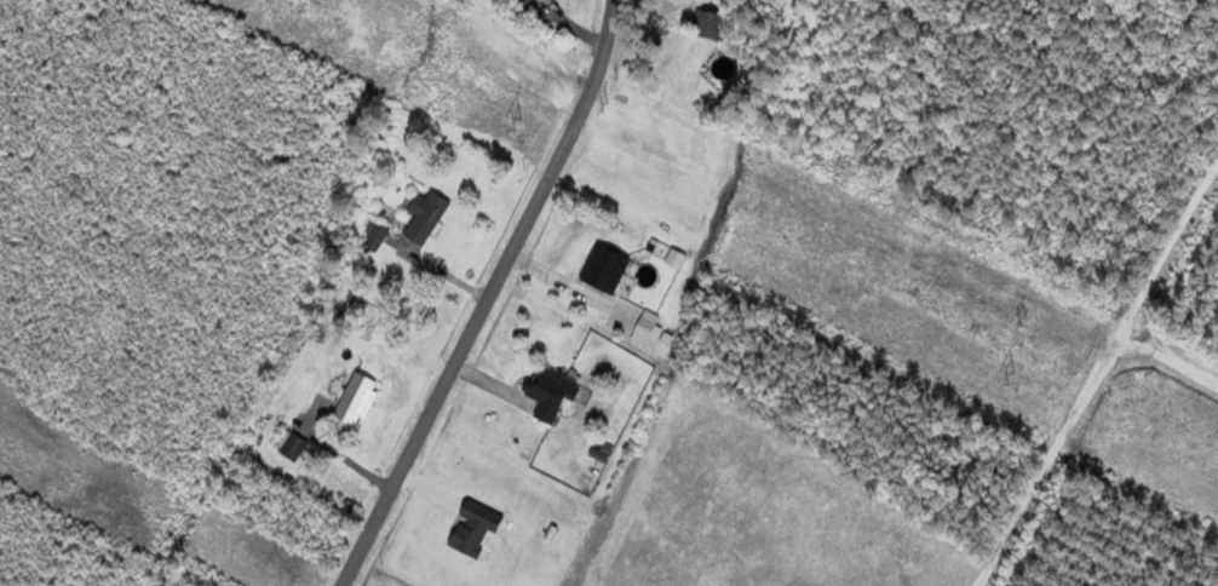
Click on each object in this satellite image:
building: (523, 6)
building: (712, 25)
power tower: (609, 94)
power tower: (517, 121)
building: (424, 216)
building: (374, 235)
building: (604, 269)
road: (448, 294)
power tower: (1030, 310)
building: (644, 328)
road: (1203, 363)
power tower: (1009, 374)
building: (551, 392)
building: (356, 400)
building: (291, 444)

